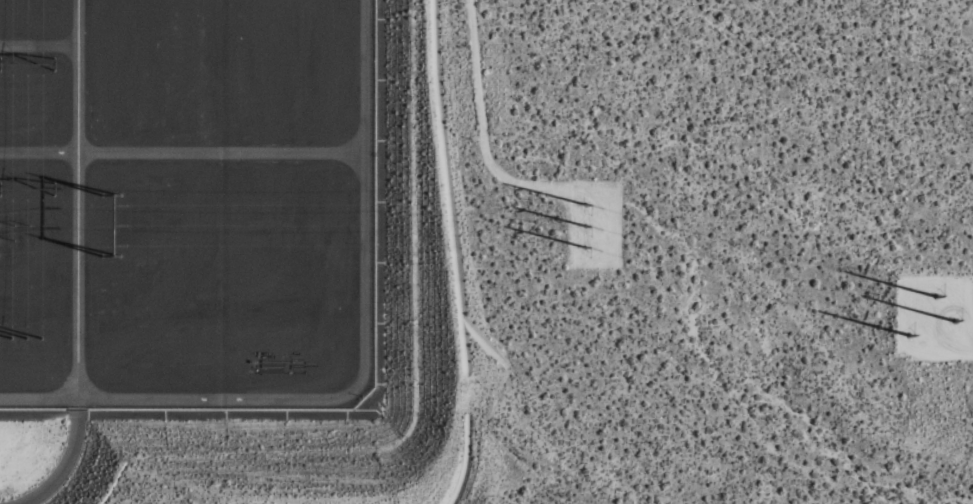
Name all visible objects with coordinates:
power substation: (186, 203)
power tower: (118, 216)
power tower: (583, 218)
power tower: (933, 313)
road: (60, 470)

